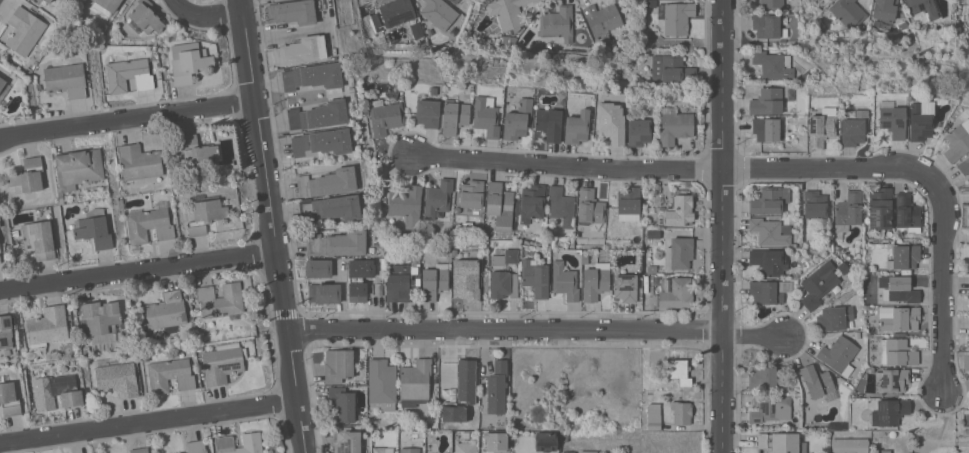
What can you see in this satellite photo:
building: (485, 0)
building: (619, 0)
building: (37, 1)
building: (48, 1)
building: (455, 1)
building: (771, 4)
building: (105, 7)
building: (623, 9)
building: (884, 10)
building: (922, 10)
building: (292, 11)
building: (397, 12)
building: (436, 12)
building: (848, 12)
road: (210, 13)
building: (508, 13)
building: (677, 17)
building: (144, 18)
building: (375, 21)
building: (602, 22)
building: (557, 23)
building: (766, 25)
building: (24, 30)
building: (504, 40)
building: (301, 50)
building: (803, 57)
building: (189, 61)
building: (773, 64)
building: (671, 68)
building: (129, 75)
building: (312, 76)
building: (66, 79)
building: (3, 87)
building: (351, 89)
building: (791, 90)
building: (617, 93)
building: (510, 95)
building: (590, 95)
building: (617, 97)
building: (767, 101)
building: (427, 112)
building: (455, 114)
building: (319, 115)
building: (385, 116)
building: (486, 116)
building: (922, 118)
building: (892, 119)
building: (518, 120)
road: (125, 121)
building: (549, 123)
building: (611, 123)
building: (674, 125)
building: (875, 125)
building: (578, 126)
building: (853, 126)
building: (821, 127)
building: (766, 129)
building: (639, 132)
building: (957, 141)
building: (321, 143)
building: (196, 152)
building: (140, 164)
building: (964, 165)
building: (79, 170)
road: (678, 170)
building: (26, 176)
building: (328, 182)
building: (663, 193)
building: (472, 194)
building: (438, 198)
building: (628, 200)
building: (770, 200)
building: (532, 202)
building: (407, 205)
building: (500, 206)
building: (590, 206)
building: (122, 207)
building: (517, 207)
building: (561, 207)
building: (331, 208)
building: (816, 208)
building: (880, 209)
building: (680, 211)
building: (847, 212)
building: (908, 212)
building: (205, 215)
building: (149, 223)
road: (271, 226)
road: (724, 226)
building: (94, 228)
building: (770, 231)
building: (651, 238)
building: (39, 239)
building: (337, 243)
building: (0, 249)
building: (454, 252)
building: (679, 253)
building: (904, 256)
building: (505, 257)
building: (0, 259)
building: (585, 259)
building: (769, 261)
building: (318, 268)
building: (645, 268)
building: (653, 269)
building: (879, 271)
road: (138, 274)
building: (535, 278)
building: (359, 279)
building: (466, 279)
building: (403, 280)
building: (434, 281)
building: (565, 281)
building: (596, 281)
building: (503, 284)
building: (817, 285)
building: (626, 287)
road: (945, 287)
building: (899, 288)
building: (768, 291)
building: (325, 293)
building: (676, 293)
building: (219, 302)
building: (166, 311)
building: (834, 318)
building: (899, 318)
building: (102, 321)
building: (128, 324)
building: (47, 326)
building: (7, 330)
road: (538, 333)
building: (857, 334)
building: (899, 334)
building: (897, 352)
building: (839, 355)
building: (146, 357)
building: (223, 362)
building: (339, 365)
building: (679, 371)
building: (466, 373)
building: (648, 374)
building: (170, 375)
building: (116, 377)
building: (763, 377)
building: (891, 380)
building: (415, 382)
building: (818, 383)
building: (382, 384)
building: (497, 387)
building: (56, 389)
building: (9, 398)
building: (449, 399)
building: (342, 403)
building: (770, 408)
building: (454, 412)
building: (681, 412)
building: (889, 412)
building: (654, 416)
road: (149, 421)
building: (434, 425)
building: (837, 425)
building: (563, 436)
building: (346, 440)
building: (495, 440)
building: (545, 441)
building: (224, 442)
building: (779, 442)
building: (849, 445)
building: (196, 446)
building: (466, 447)
building: (139, 450)
building: (383, 450)
building: (410, 450)
building: (883, 451)
building: (568, 452)
building: (588, 452)

